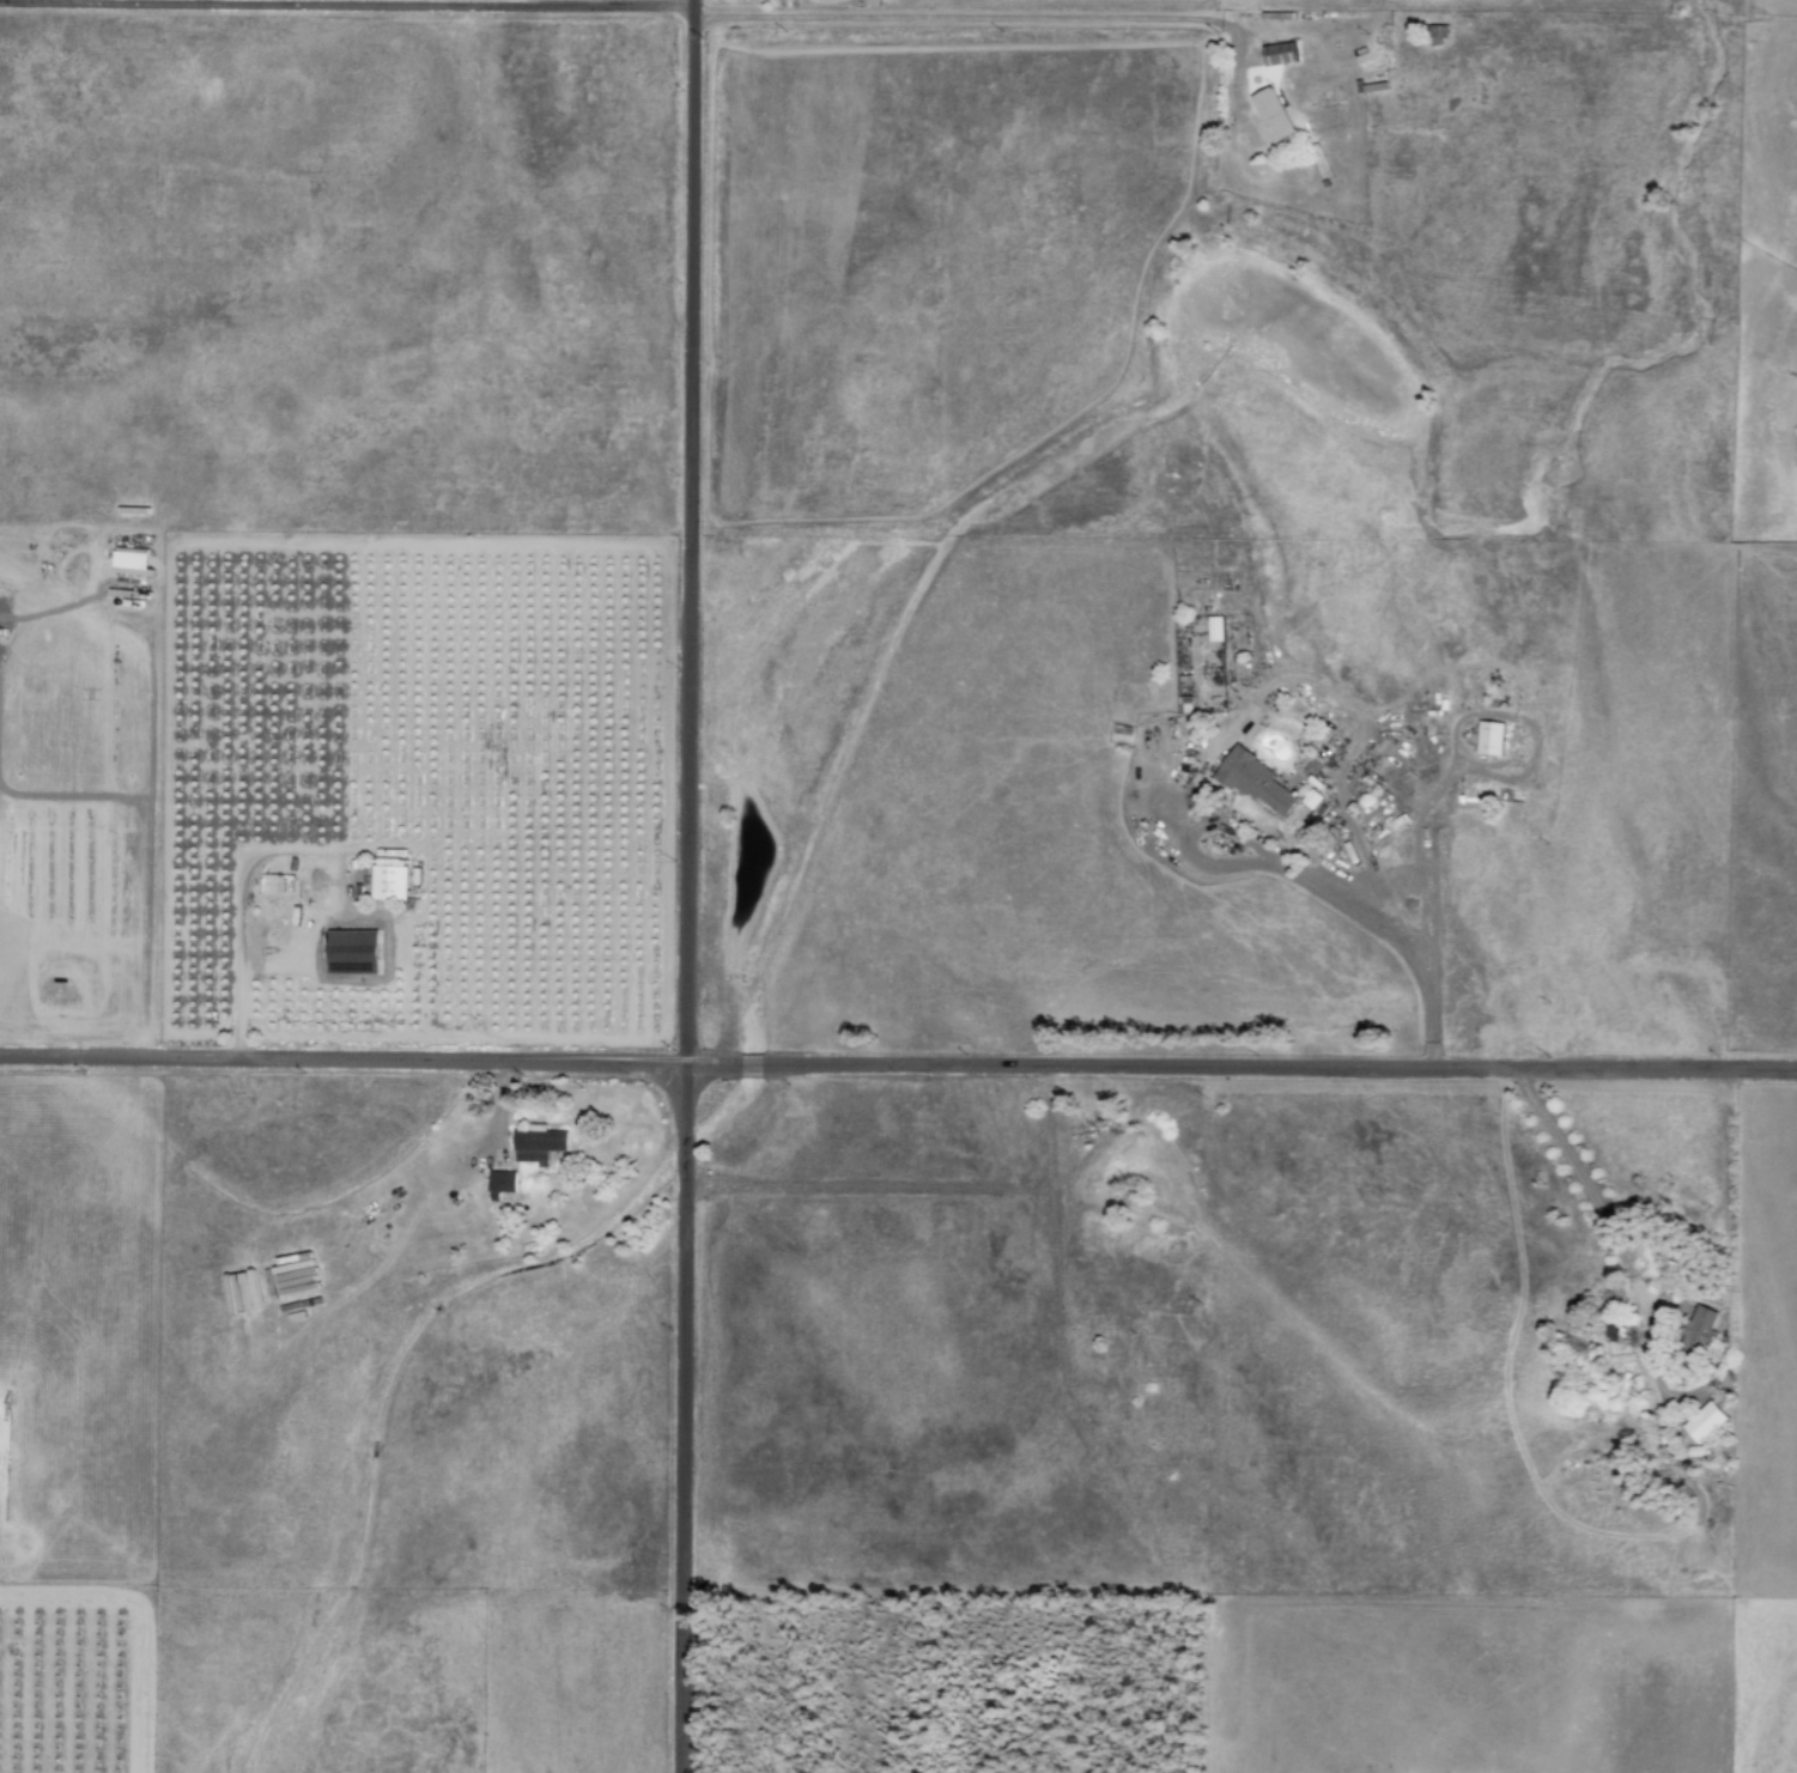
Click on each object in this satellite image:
road: (375, 1)
road: (691, 1)
road: (941, 17)
building: (1279, 54)
building: (1271, 114)
building: (129, 561)
building: (1213, 629)
building: (1489, 737)
building: (1255, 782)
road: (145, 856)
building: (388, 882)
road: (685, 887)
road: (898, 1065)
building: (536, 1144)
building: (500, 1184)
building: (1702, 1326)
wastewater plant: (1678, 1404)
building: (1705, 1421)

